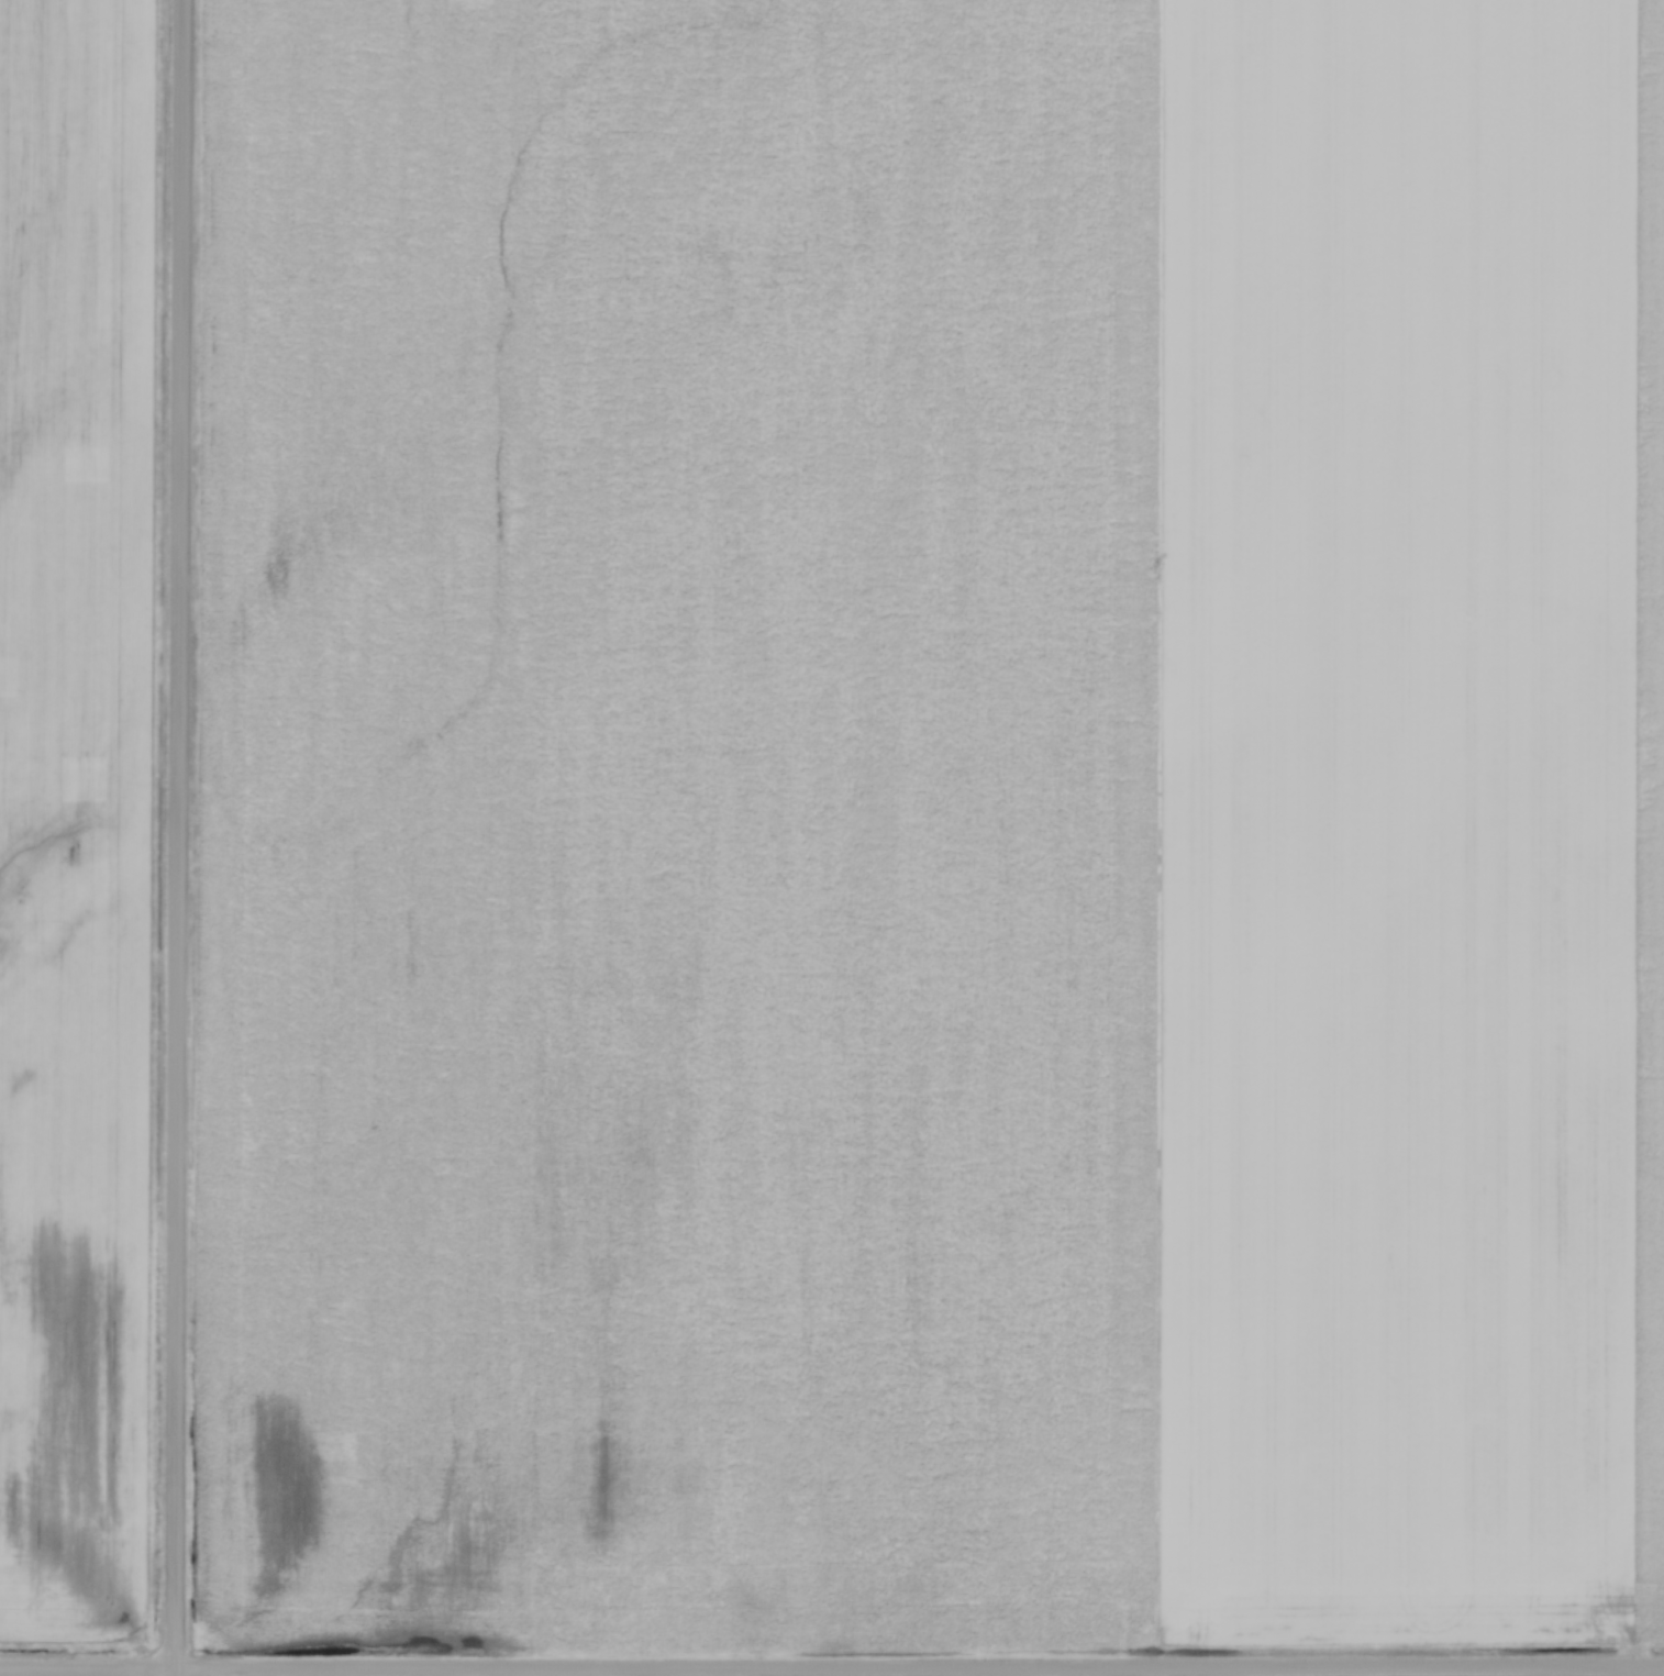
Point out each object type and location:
road: (177, 837)
road: (832, 1665)

